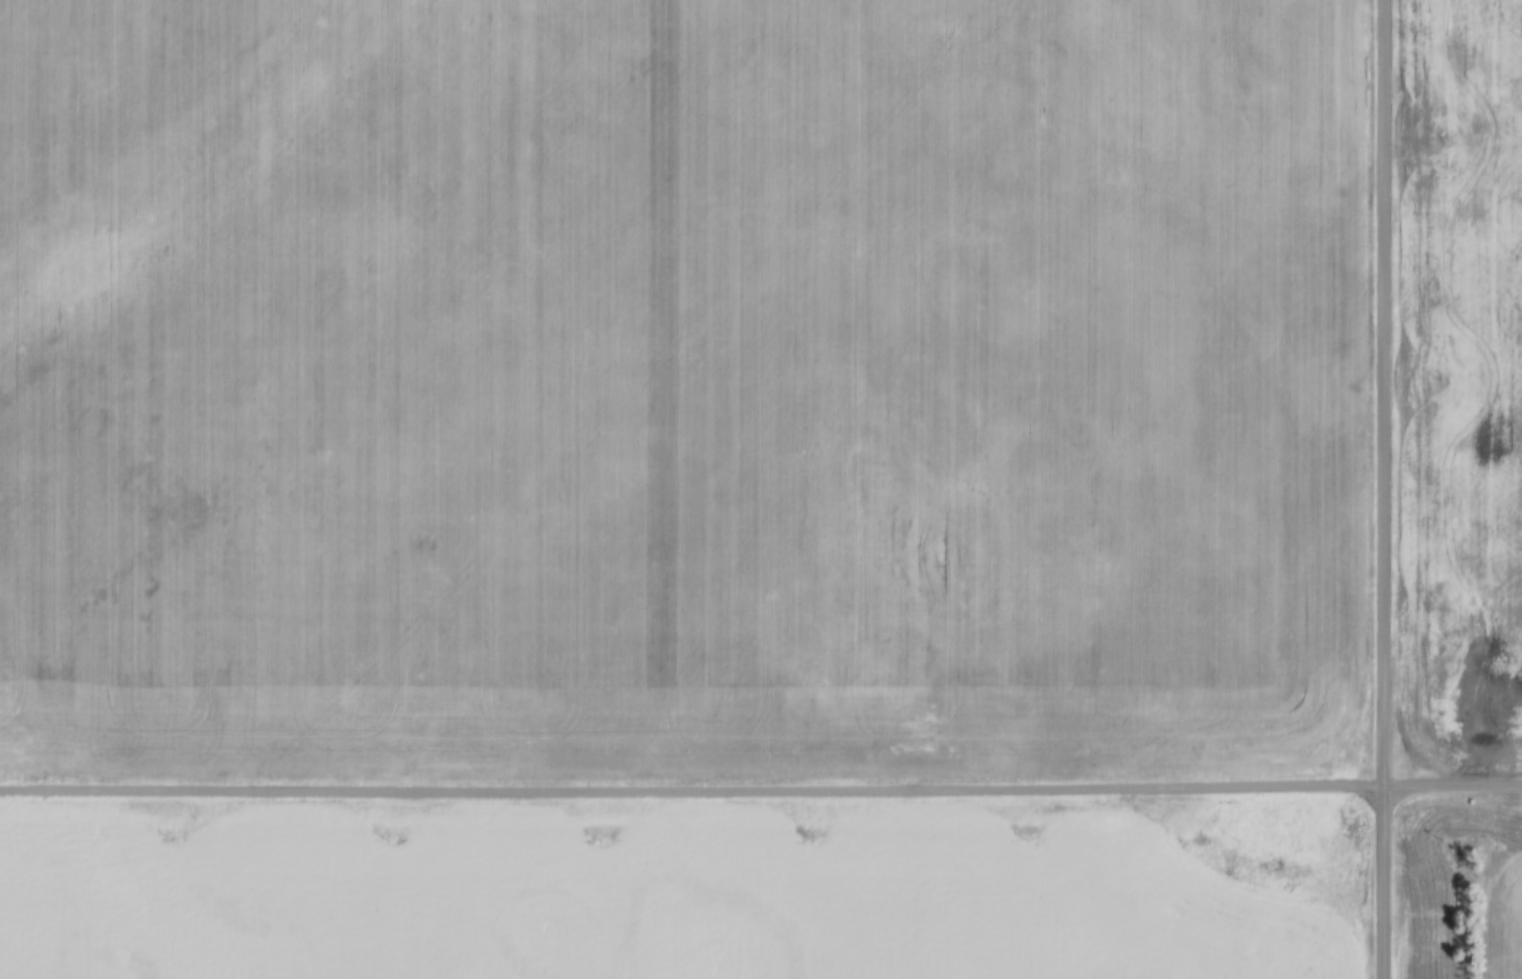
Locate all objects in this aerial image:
road: (1381, 489)
road: (1451, 779)
road: (690, 783)

